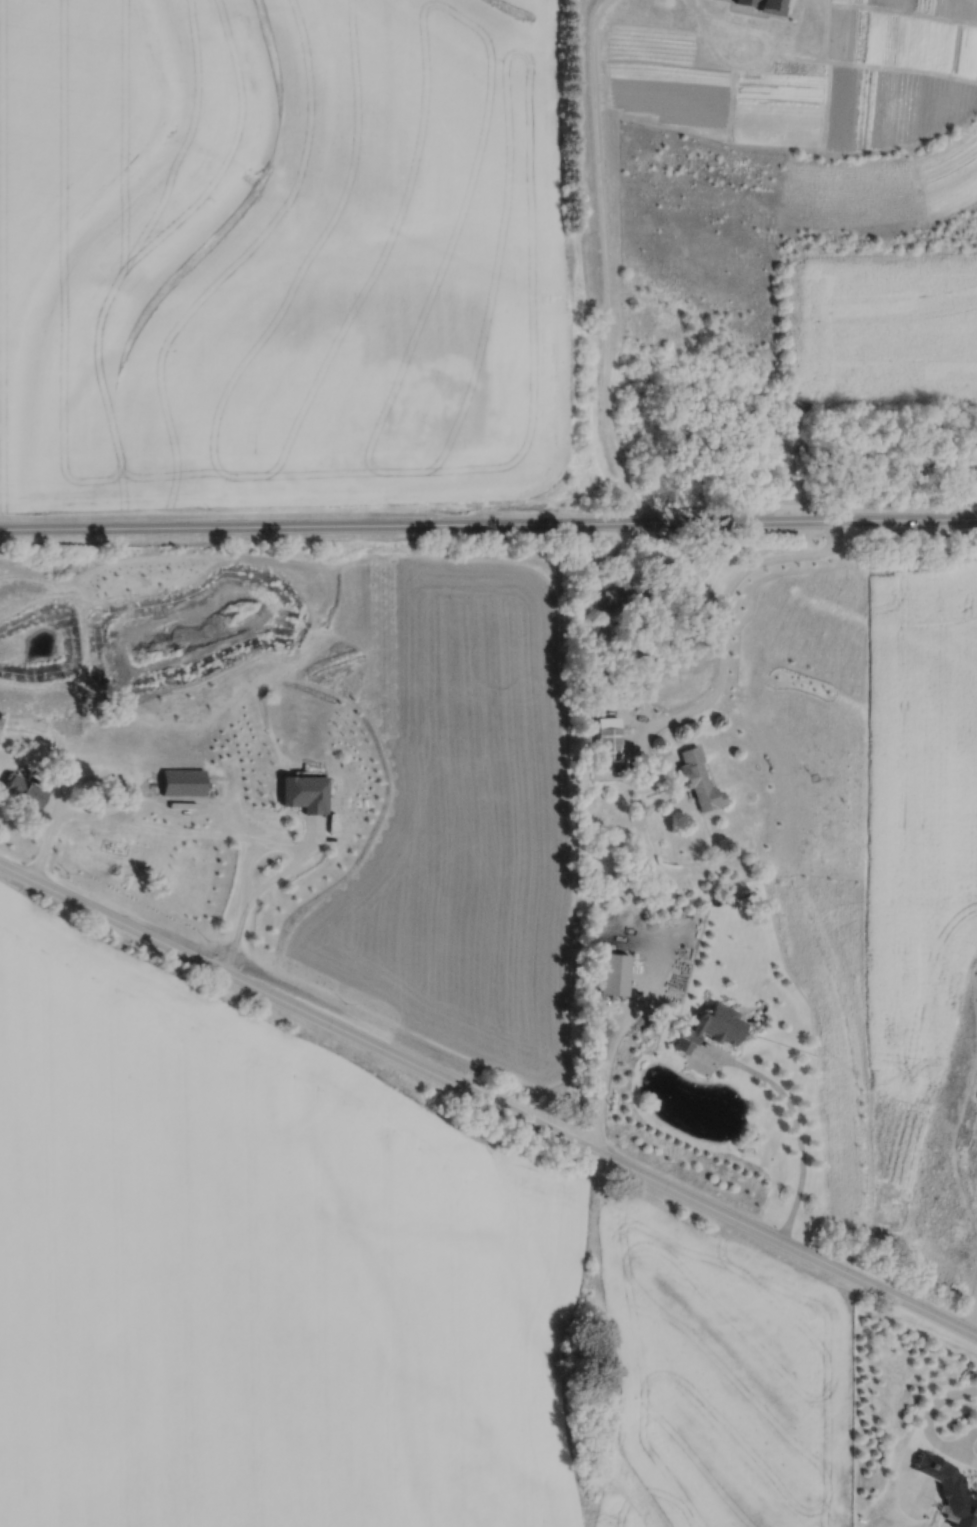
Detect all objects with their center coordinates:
building: (757, 4)
road: (601, 264)
road: (488, 524)
road: (723, 625)
building: (139, 694)
building: (58, 722)
building: (605, 744)
building: (696, 780)
building: (179, 782)
building: (20, 792)
road: (216, 834)
building: (610, 976)
road: (611, 1073)
road: (489, 1100)
road: (792, 1120)
road: (969, 1304)
road: (927, 1414)

